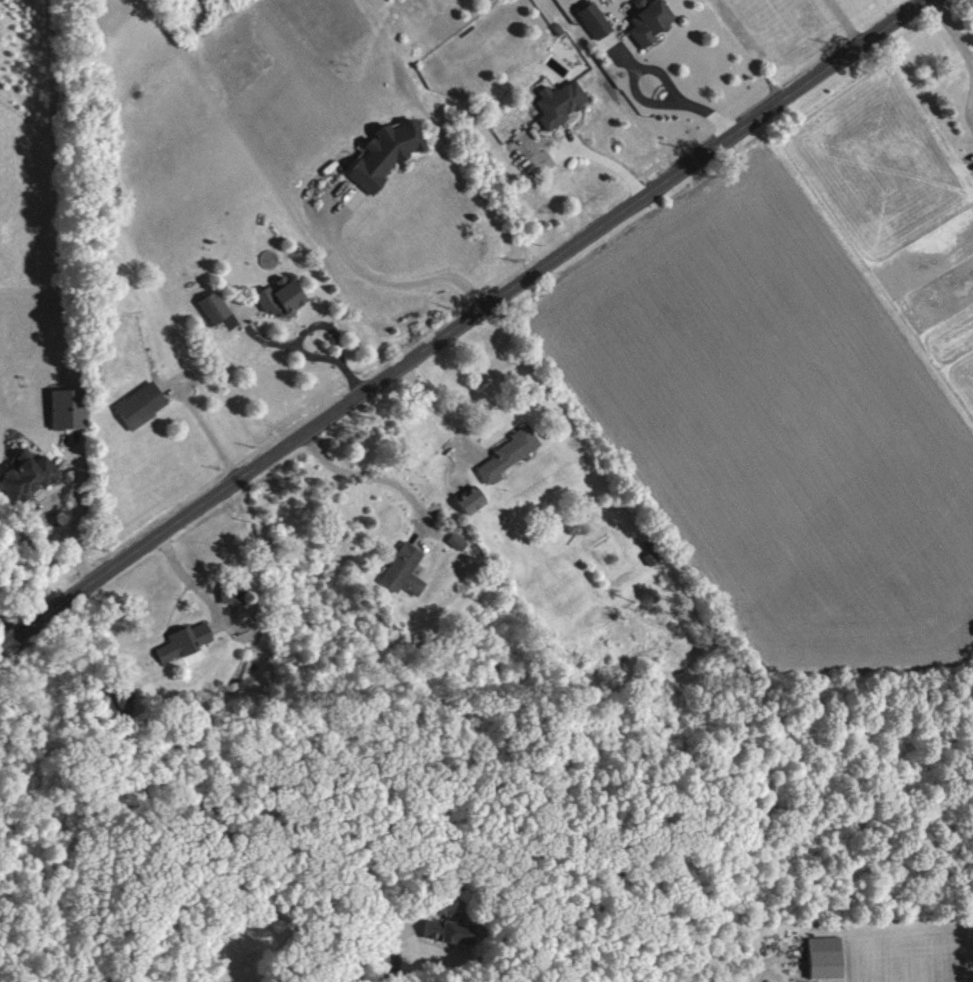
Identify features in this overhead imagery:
building: (591, 18)
building: (646, 20)
road: (848, 22)
building: (555, 27)
road: (954, 35)
road: (668, 76)
building: (558, 100)
building: (385, 151)
road: (393, 283)
building: (277, 297)
building: (210, 306)
road: (462, 322)
building: (144, 404)
building: (73, 408)
road: (439, 408)
building: (513, 451)
building: (30, 474)
building: (474, 498)
building: (460, 540)
building: (406, 569)
road: (189, 580)
building: (237, 592)
building: (187, 641)
building: (122, 701)
building: (451, 931)
road: (393, 946)
building: (827, 956)
road: (339, 981)
road: (757, 981)

